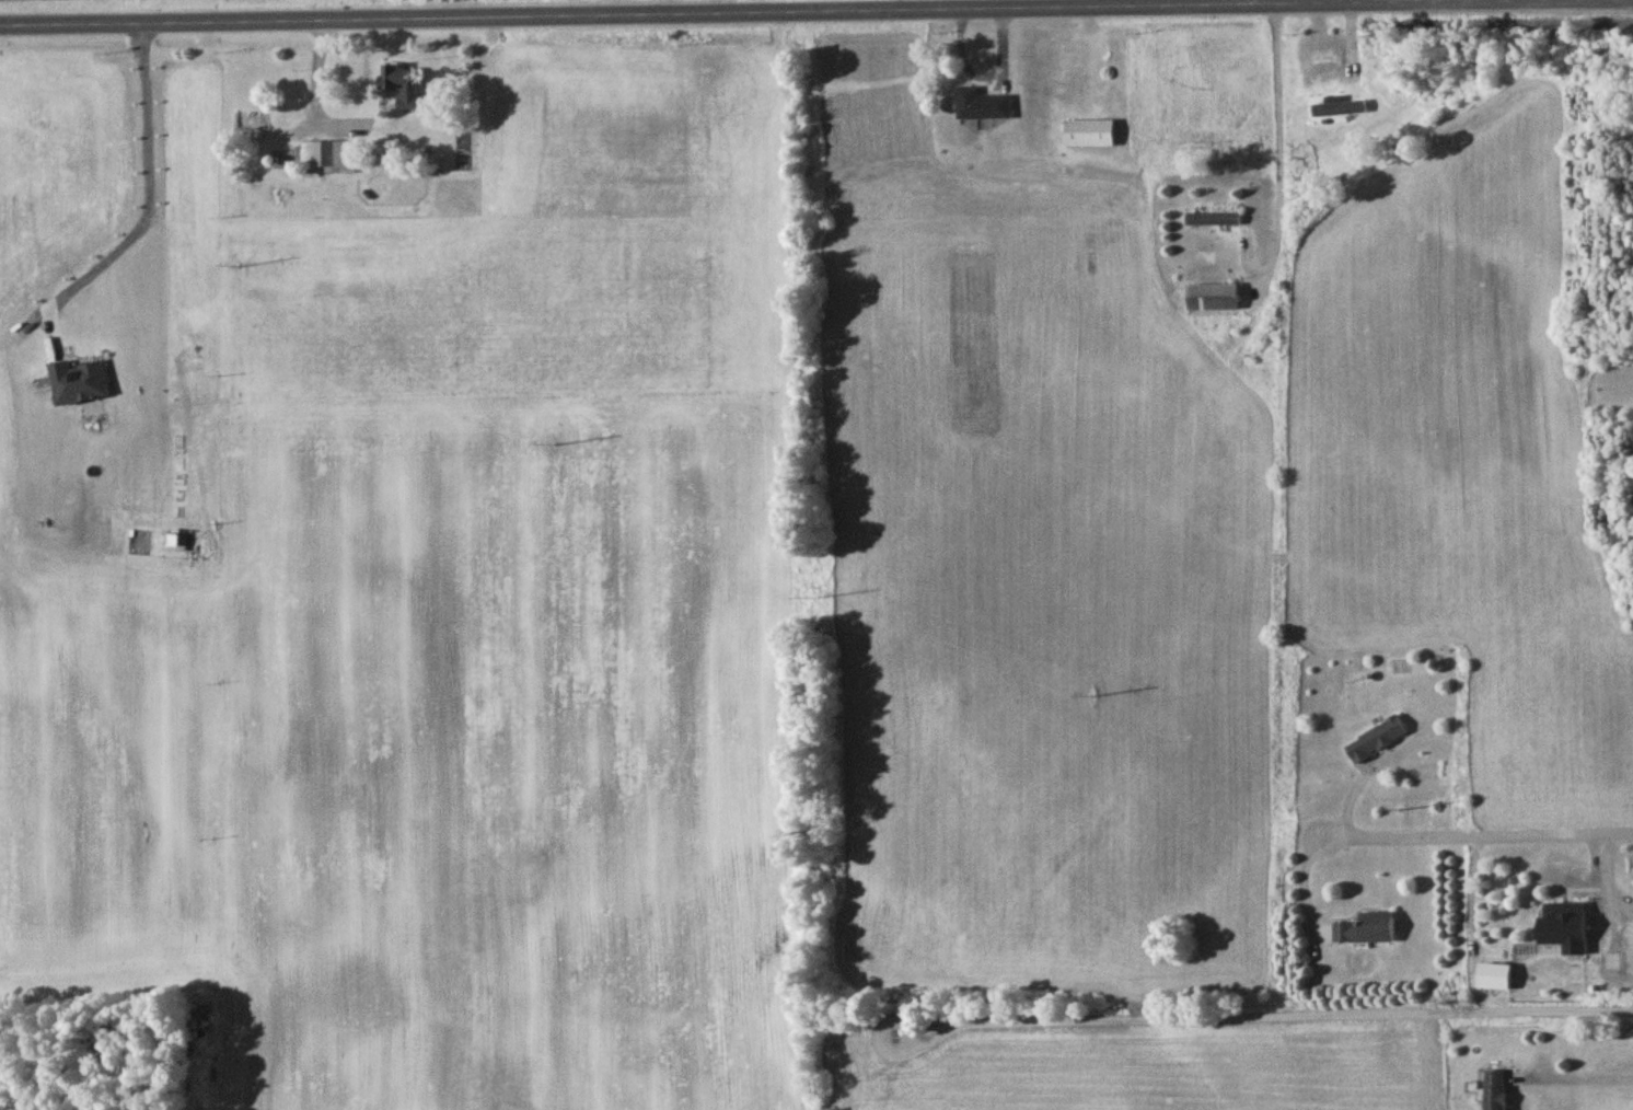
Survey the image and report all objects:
road: (816, 13)
road: (316, 84)
building: (401, 88)
building: (983, 107)
building: (1337, 109)
building: (1089, 136)
building: (332, 160)
road: (1281, 160)
road: (148, 183)
building: (1215, 222)
building: (1214, 301)
building: (1375, 742)
road: (1470, 833)
road: (1618, 868)
building: (1568, 923)
building: (1366, 930)
road: (1262, 1015)
road: (1585, 1077)
building: (1495, 1091)

